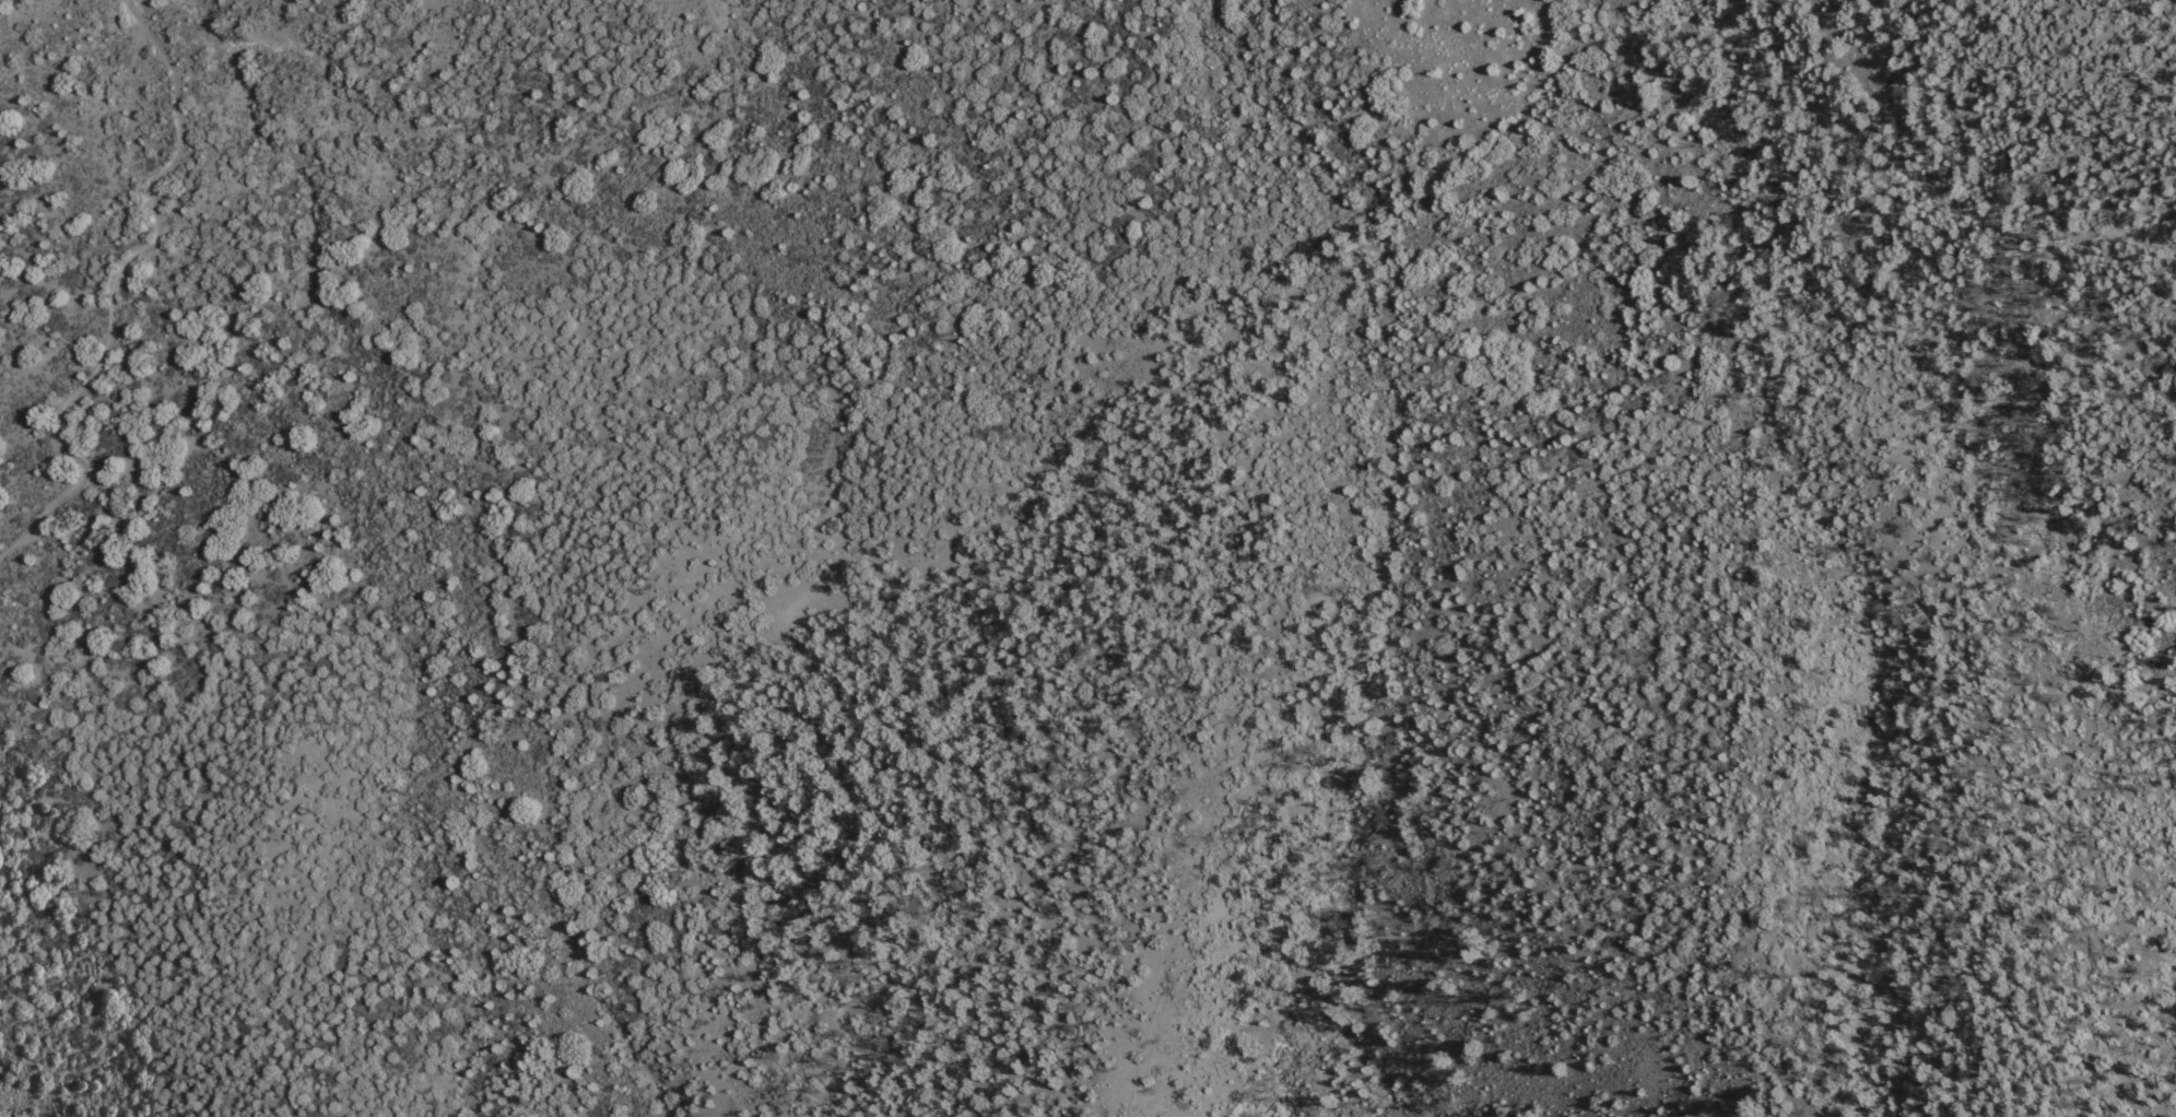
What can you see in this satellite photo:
road: (115, 289)

